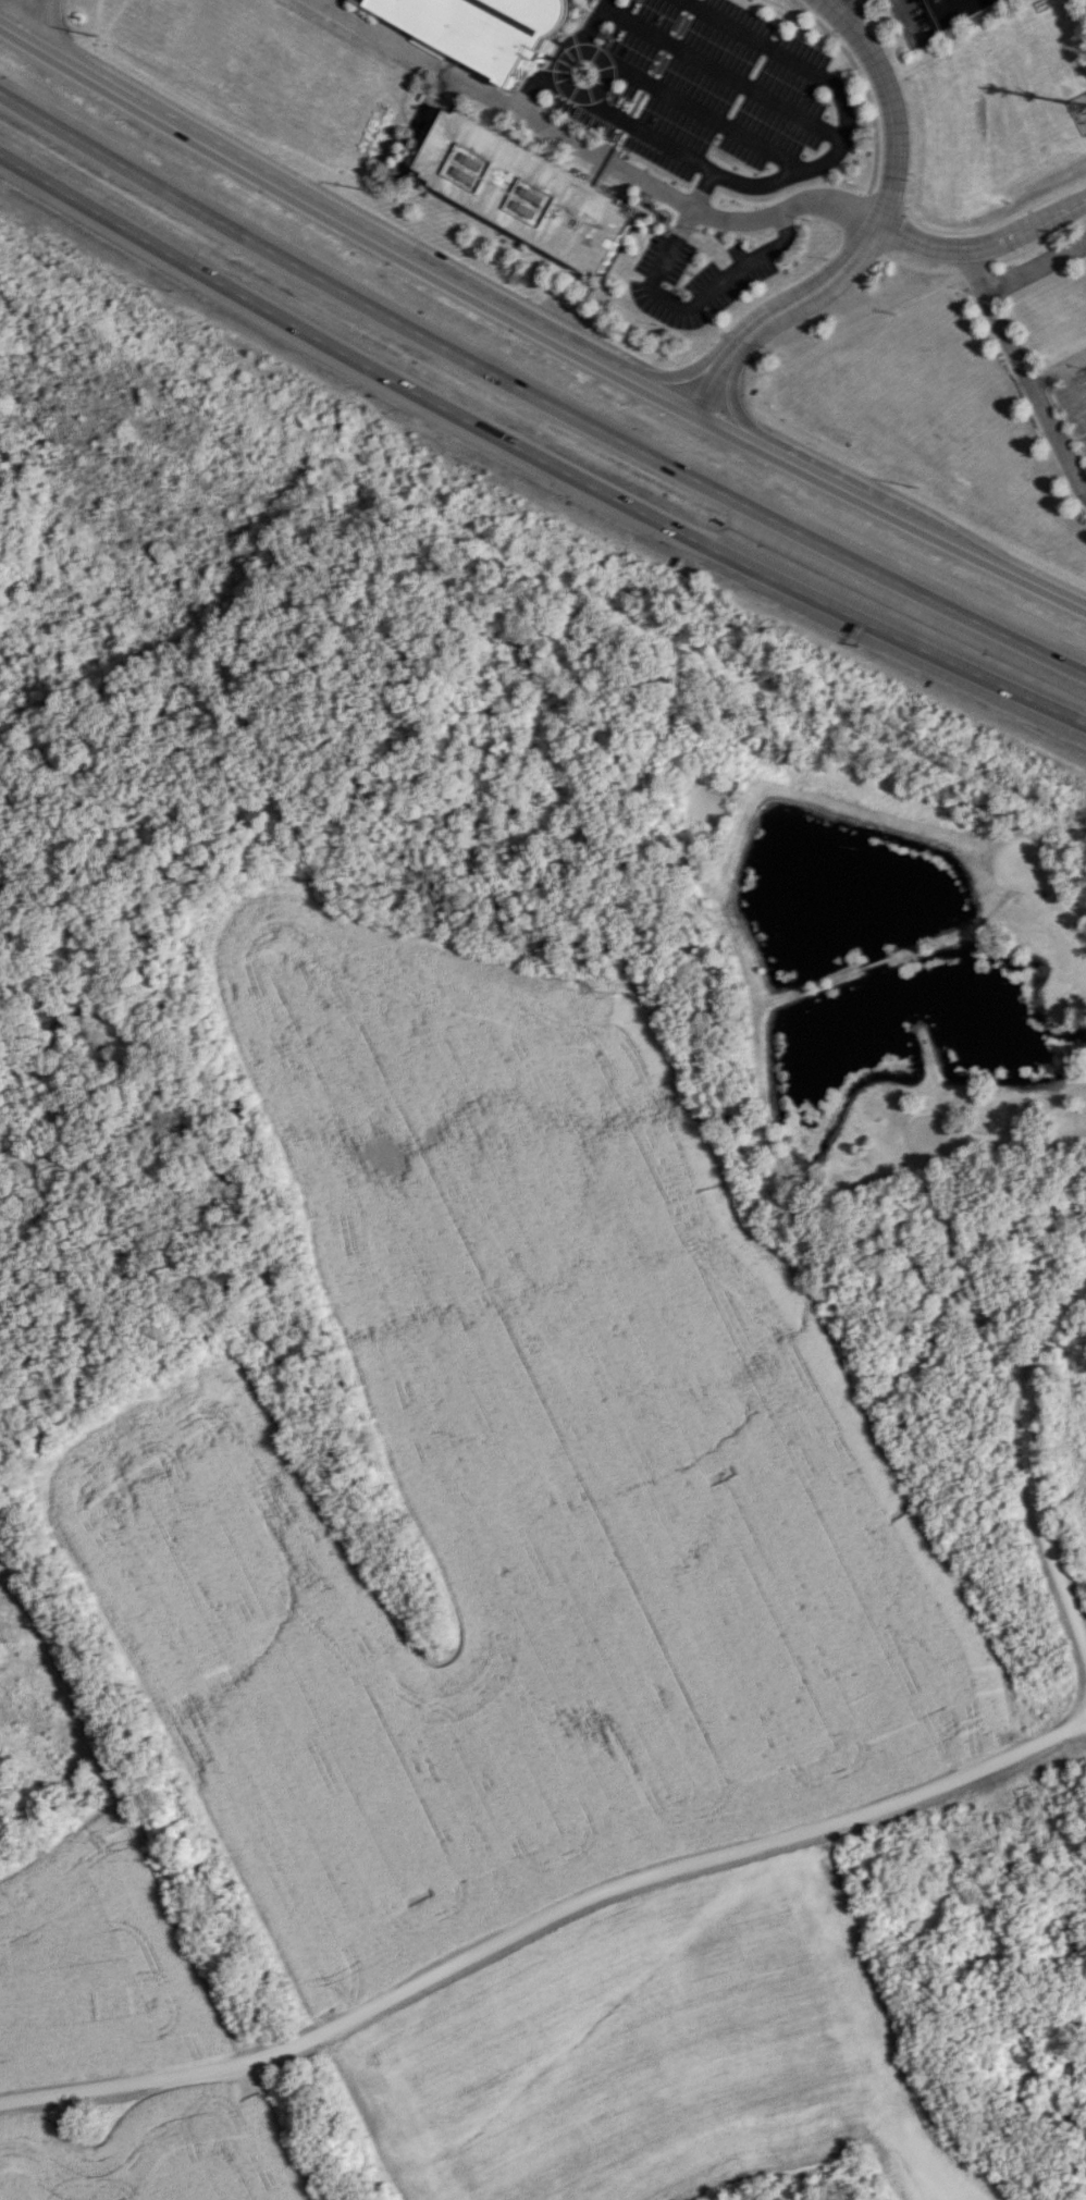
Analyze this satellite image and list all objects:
road: (330, 3)
road: (847, 9)
building: (955, 9)
building: (478, 28)
road: (60, 34)
road: (892, 106)
road: (592, 150)
road: (823, 160)
building: (528, 192)
road: (207, 213)
road: (987, 239)
road: (1036, 263)
road: (975, 267)
road: (193, 268)
road: (812, 284)
road: (680, 304)
road: (535, 328)
road: (1074, 360)
road: (696, 368)
road: (1047, 373)
road: (1035, 391)
road: (1074, 391)
road: (731, 395)
road: (749, 505)
road: (733, 557)
dam: (863, 822)
parking lot: (1020, 864)
road: (1057, 896)
road: (966, 927)
road: (873, 962)
road: (812, 985)
parking lot: (930, 1133)
road: (1005, 1139)
road: (1025, 1465)
road: (542, 1919)

